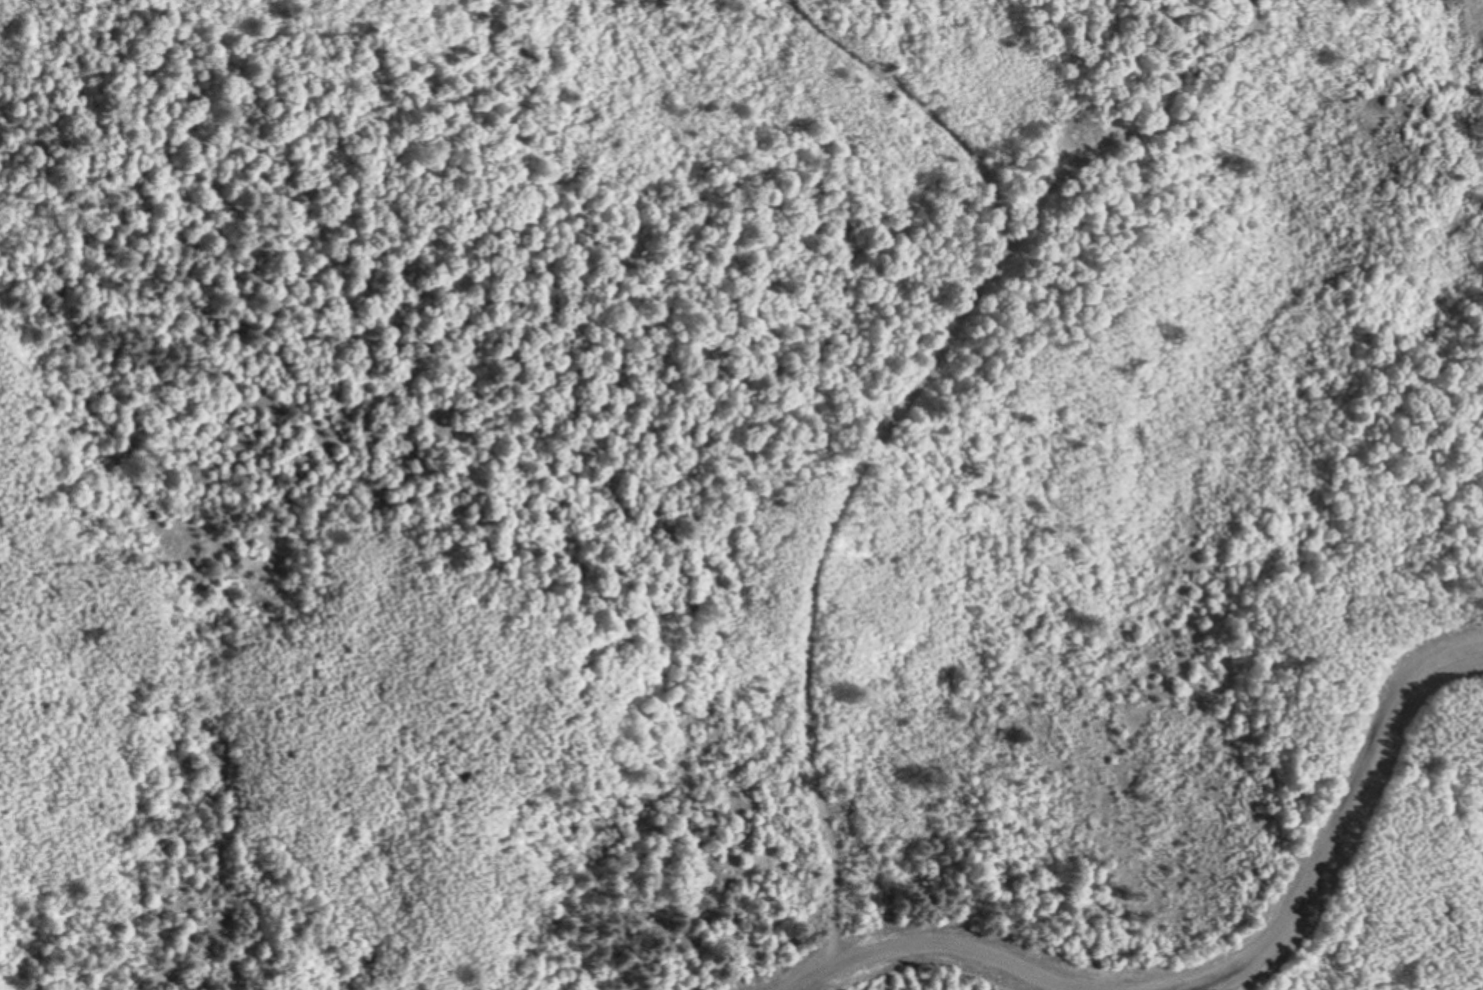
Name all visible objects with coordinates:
road: (882, 440)
road: (1356, 827)
road: (922, 963)
road: (1215, 975)

